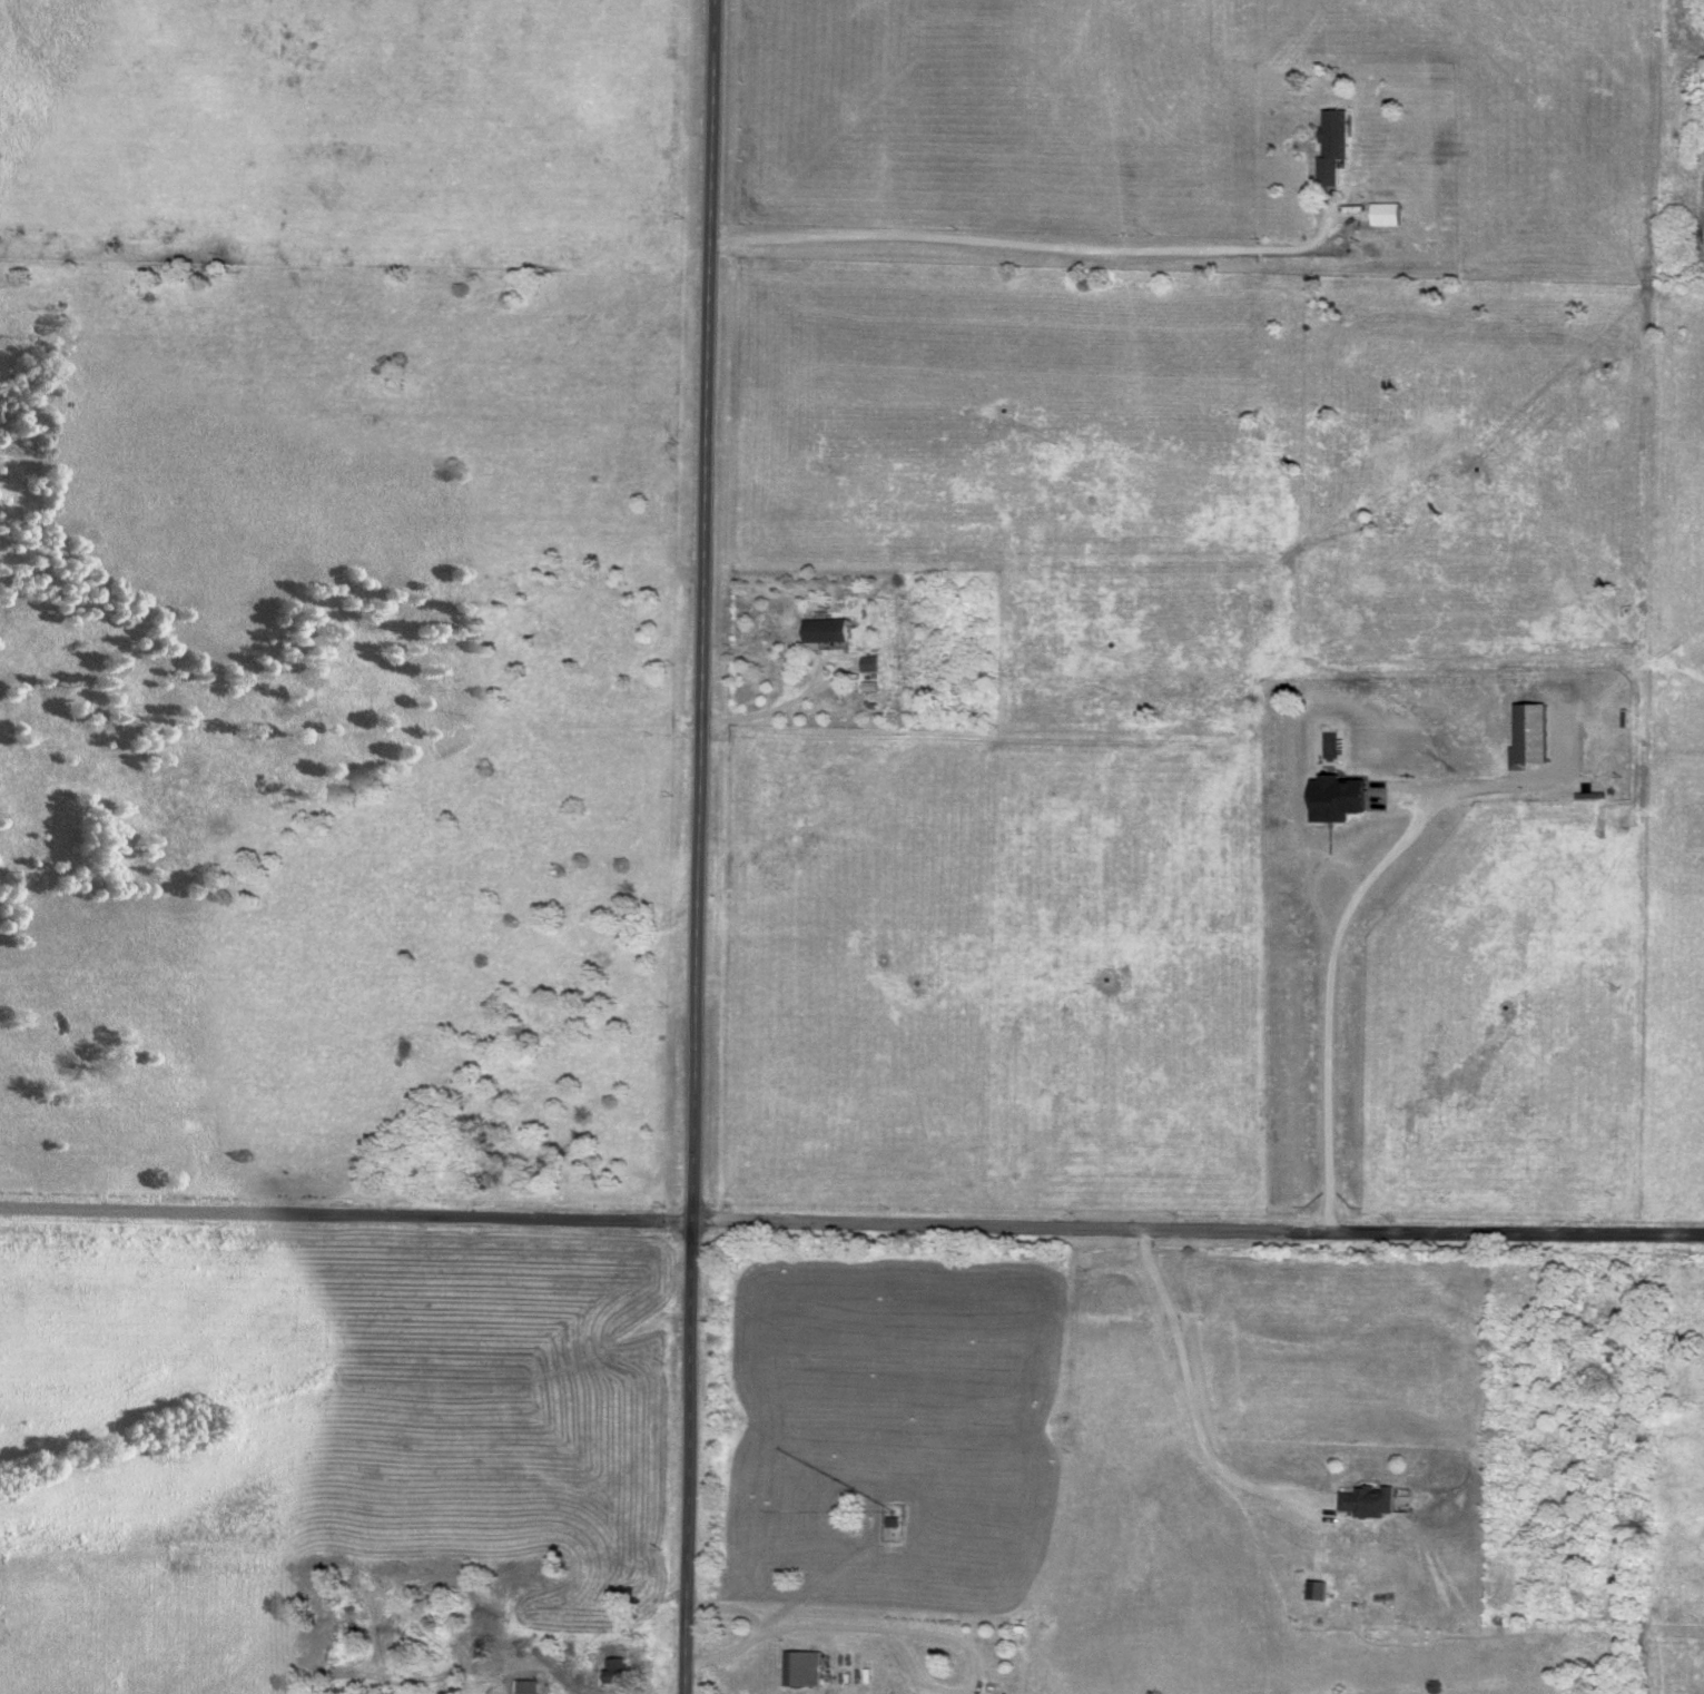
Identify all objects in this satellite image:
building: (1328, 146)
building: (1382, 216)
road: (1025, 244)
building: (820, 631)
building: (867, 664)
road: (765, 721)
building: (1332, 799)
road: (698, 846)
road: (1330, 1001)
road: (851, 1225)
road: (1192, 1401)
building: (1360, 1501)
road: (730, 1608)
road: (902, 1638)
building: (798, 1670)
building: (607, 1672)
building: (523, 1686)

